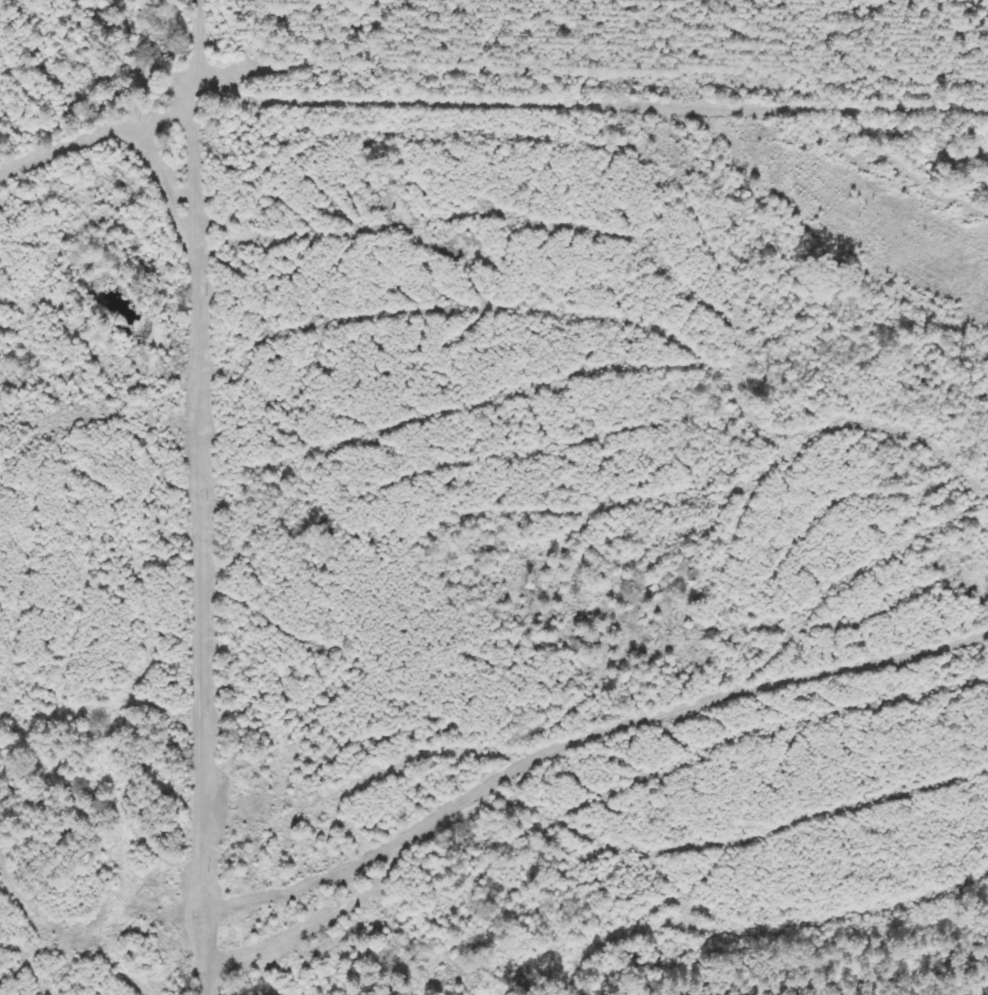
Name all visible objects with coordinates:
road: (198, 931)

